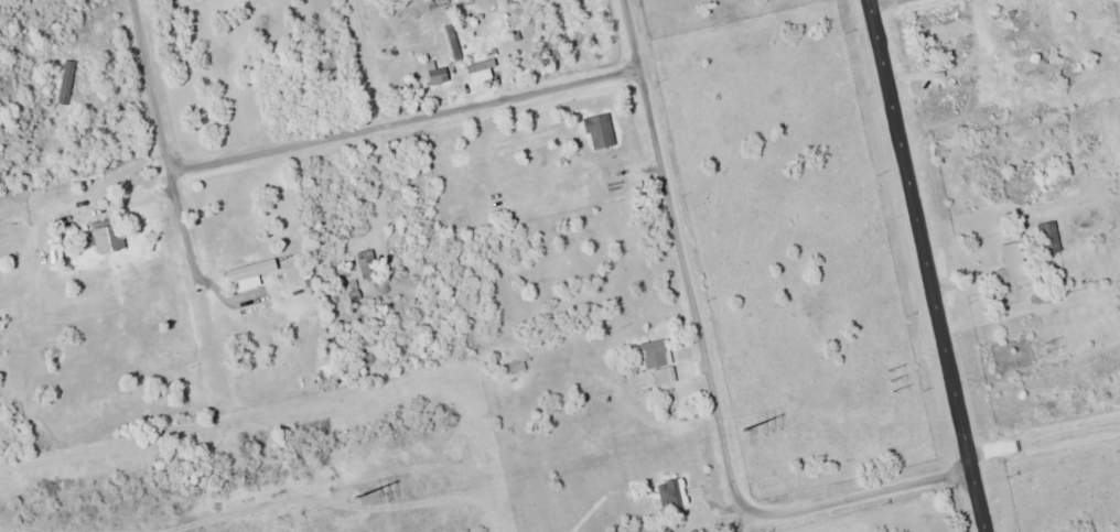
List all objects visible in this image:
road: (890, 4)
road: (631, 34)
road: (362, 65)
building: (482, 73)
road: (407, 121)
road: (163, 146)
building: (107, 236)
building: (1046, 238)
building: (1009, 263)
building: (368, 264)
road: (926, 265)
building: (254, 270)
building: (0, 326)
power tower: (1045, 346)
building: (658, 360)
power tower: (889, 380)
road: (714, 403)
power tower: (744, 427)
road: (1044, 438)
building: (674, 493)
power tower: (355, 498)

